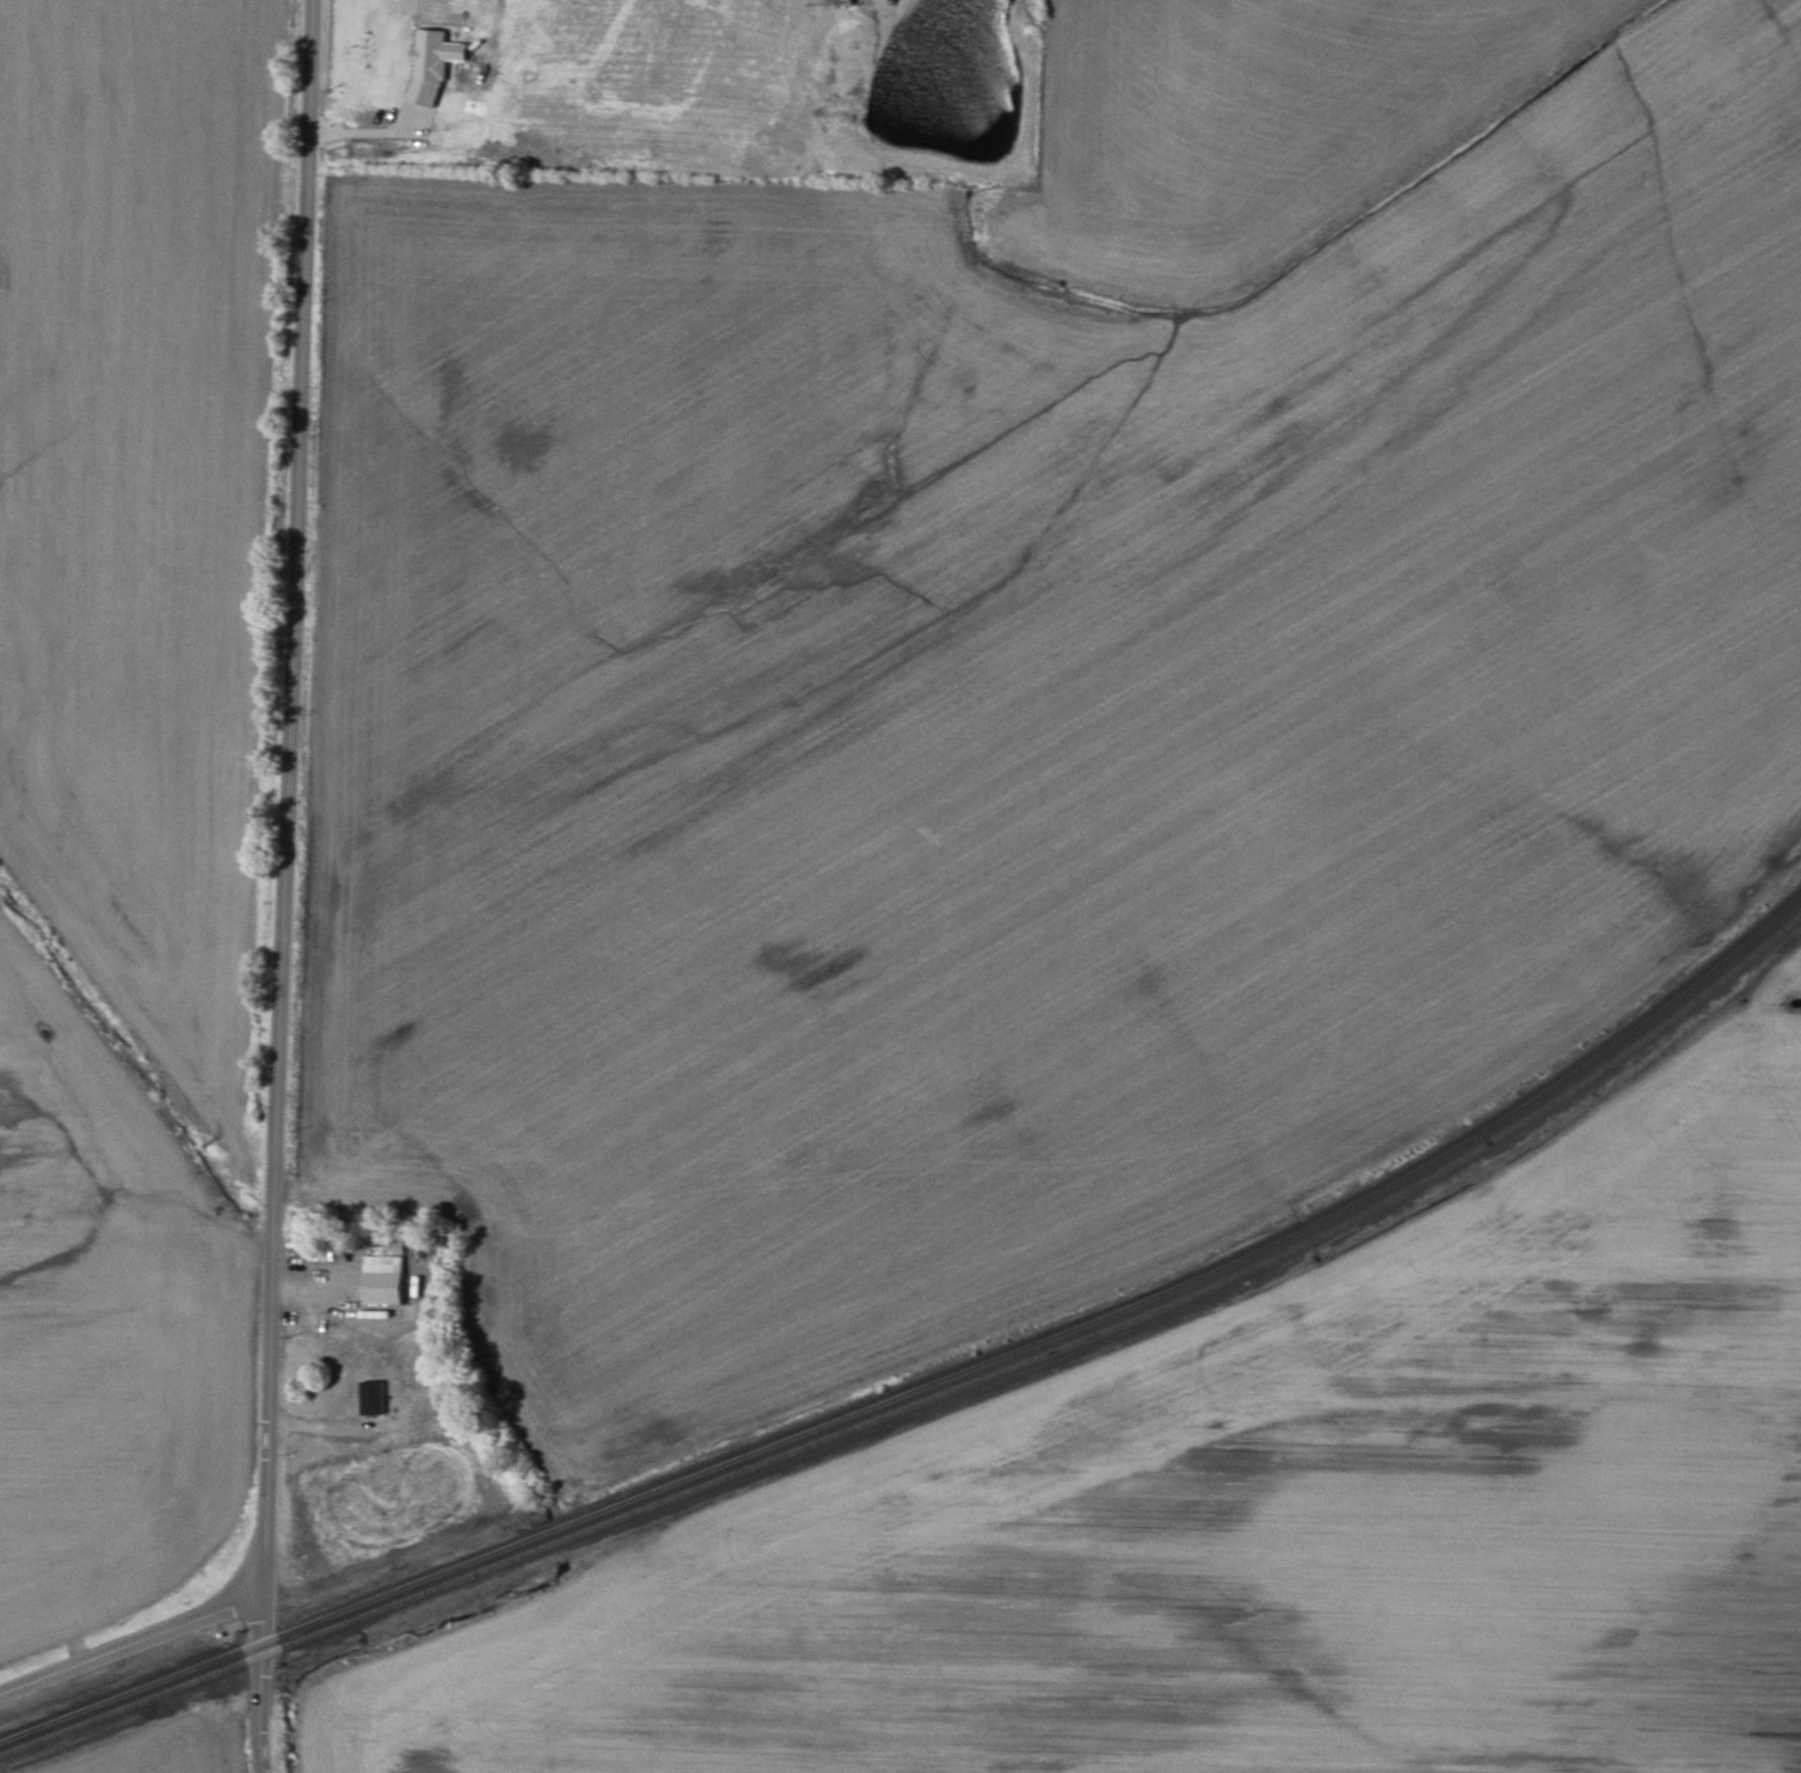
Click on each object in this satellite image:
building: (432, 65)
crop: (1260, 119)
crop: (148, 503)
crop: (1016, 728)
road: (285, 883)
building: (385, 1276)
road: (311, 1289)
crop: (107, 1336)
railway: (934, 1387)
building: (371, 1397)
road: (316, 1427)
crop: (1260, 1521)
road: (133, 1640)
road: (259, 1769)

